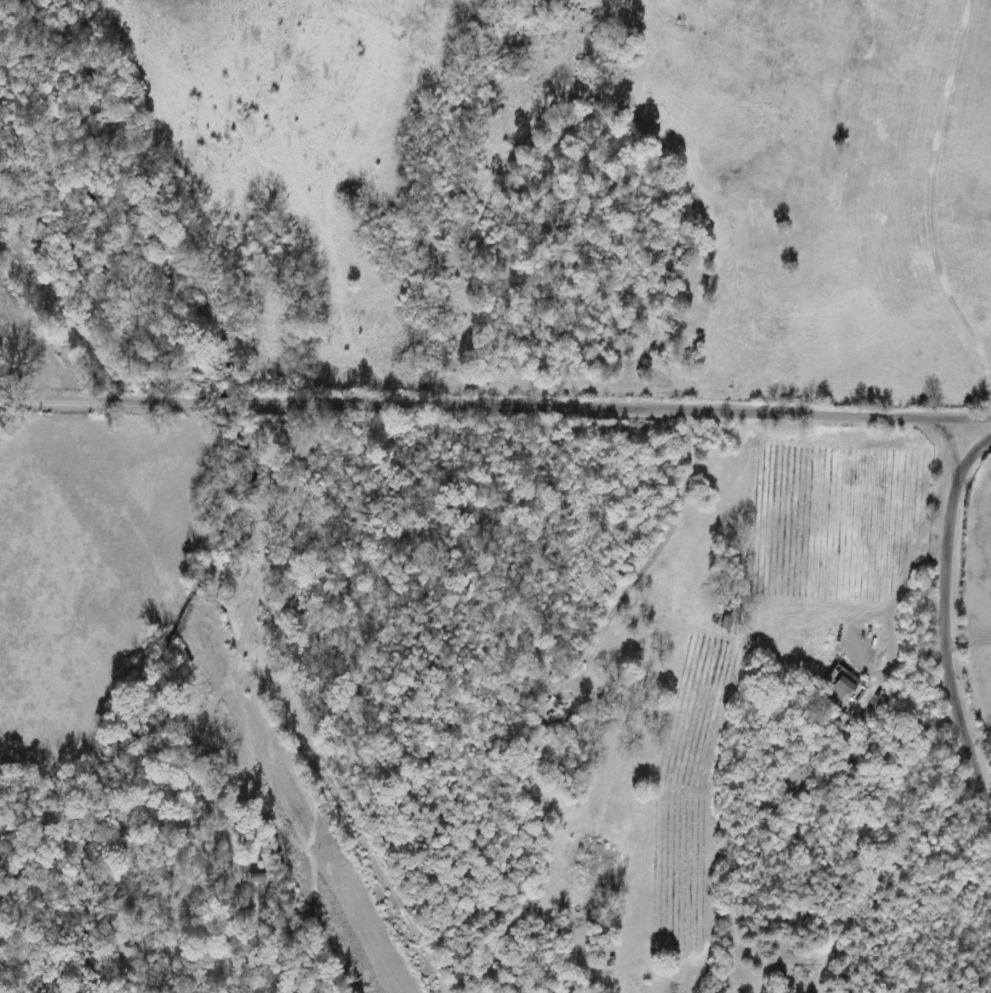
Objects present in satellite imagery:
road: (929, 203)
road: (495, 407)
road: (626, 600)
building: (728, 623)
road: (943, 626)
road: (967, 642)
road: (890, 648)
building: (847, 688)
building: (536, 736)
building: (248, 876)

